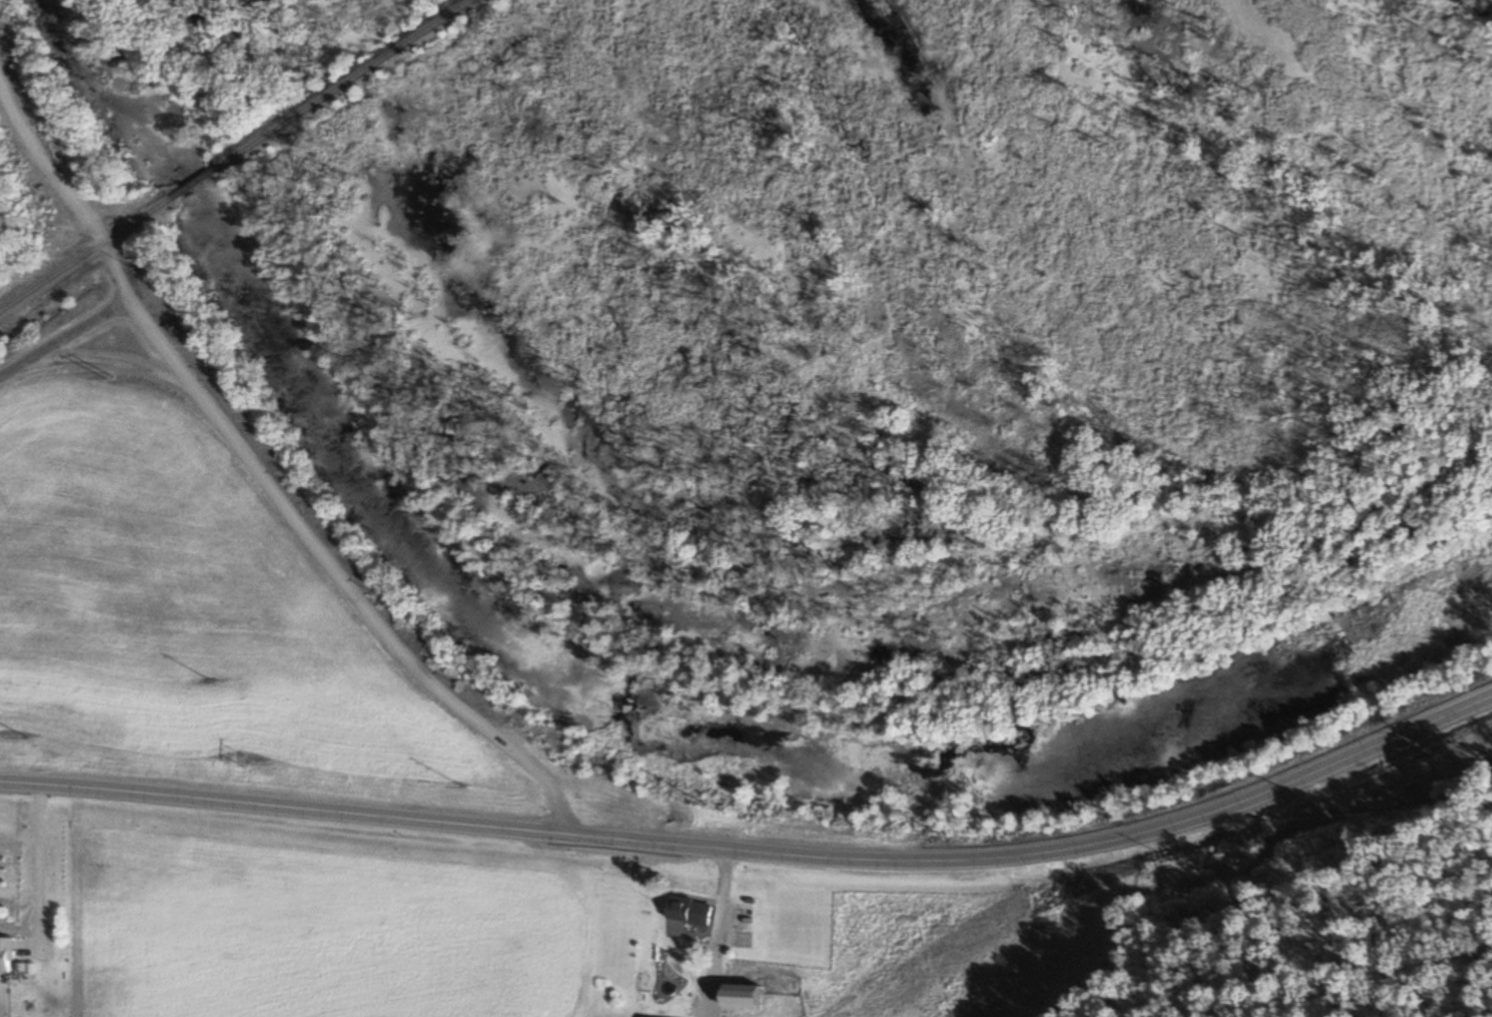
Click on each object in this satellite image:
railway: (347, 84)
railway: (197, 183)
railway: (86, 255)
road: (65, 339)
road: (112, 360)
power tower: (116, 377)
road: (263, 470)
crop: (193, 611)
road: (1299, 778)
road: (550, 832)
building: (688, 911)
crop: (360, 924)
road: (721, 933)
crop: (967, 943)
building: (7, 955)

